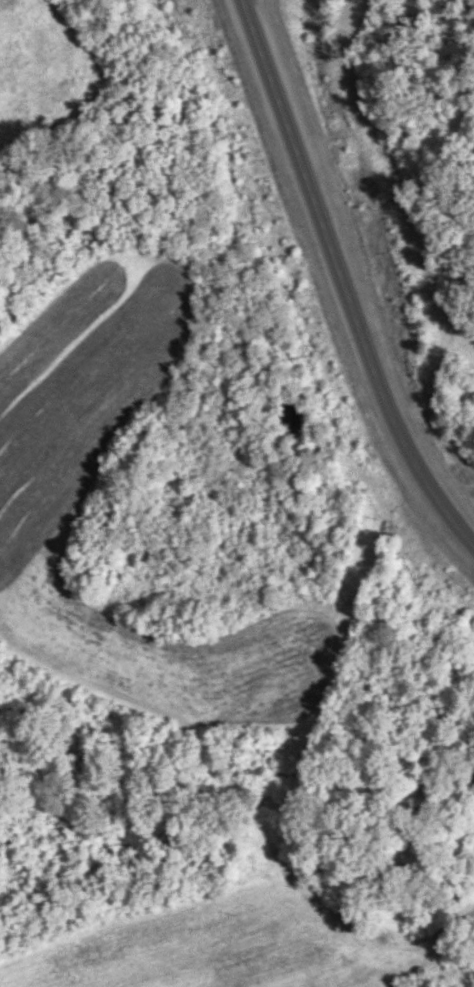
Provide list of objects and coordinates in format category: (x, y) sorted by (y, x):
road: (341, 283)

